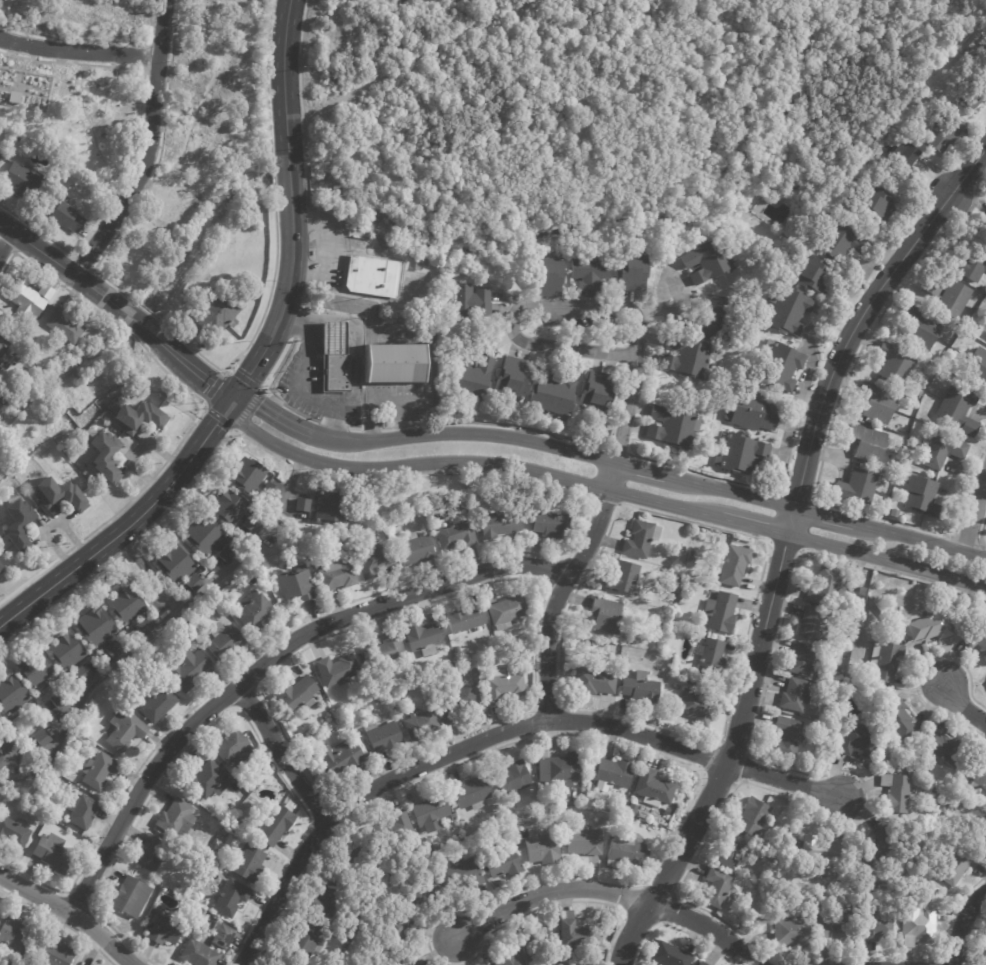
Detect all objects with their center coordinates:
road: (94, 39)
road: (78, 52)
road: (143, 69)
building: (974, 95)
road: (153, 102)
road: (302, 106)
building: (943, 133)
building: (17, 138)
road: (136, 142)
building: (2, 156)
building: (902, 157)
building: (26, 182)
building: (879, 203)
road: (292, 207)
building: (62, 215)
road: (316, 220)
building: (983, 224)
building: (360, 232)
road: (99, 237)
road: (6, 242)
building: (840, 242)
road: (315, 246)
road: (7, 249)
road: (328, 249)
building: (396, 256)
building: (712, 263)
building: (971, 264)
building: (419, 268)
road: (94, 271)
building: (639, 275)
building: (555, 276)
building: (595, 276)
building: (817, 276)
building: (375, 277)
building: (930, 286)
building: (21, 297)
building: (952, 298)
road: (307, 299)
building: (472, 300)
building: (983, 302)
road: (118, 307)
building: (213, 312)
road: (634, 312)
building: (792, 312)
road: (862, 313)
building: (717, 320)
road: (294, 323)
building: (60, 324)
building: (28, 325)
building: (920, 328)
road: (430, 334)
building: (985, 334)
road: (810, 337)
road: (354, 340)
building: (2, 350)
road: (195, 351)
building: (689, 358)
building: (335, 359)
building: (1, 362)
building: (893, 364)
building: (395, 365)
building: (977, 367)
building: (783, 368)
road: (228, 369)
building: (477, 379)
building: (516, 379)
road: (300, 382)
road: (212, 387)
road: (266, 389)
road: (264, 390)
building: (600, 394)
building: (556, 395)
road: (810, 398)
traffic signals: (232, 401)
building: (874, 402)
building: (0, 404)
road: (345, 407)
road: (627, 409)
building: (955, 410)
road: (246, 411)
building: (755, 412)
road: (197, 414)
road: (276, 415)
building: (140, 416)
road: (333, 423)
road: (332, 424)
road: (494, 424)
road: (355, 428)
road: (371, 428)
building: (674, 429)
road: (828, 430)
road: (467, 433)
building: (866, 442)
building: (940, 450)
road: (617, 451)
building: (744, 455)
building: (107, 456)
road: (206, 461)
road: (468, 462)
road: (296, 467)
road: (640, 468)
road: (705, 474)
building: (250, 475)
building: (856, 487)
building: (271, 490)
road: (730, 491)
building: (61, 494)
building: (922, 496)
road: (603, 500)
building: (305, 505)
building: (232, 508)
building: (335, 508)
road: (973, 513)
road: (832, 517)
building: (904, 517)
road: (790, 520)
building: (408, 521)
building: (502, 523)
building: (383, 524)
building: (554, 524)
building: (19, 525)
building: (254, 525)
road: (128, 526)
road: (755, 526)
road: (807, 529)
road: (980, 532)
building: (199, 533)
building: (377, 533)
building: (458, 535)
building: (357, 536)
building: (643, 539)
road: (929, 542)
building: (320, 544)
building: (684, 547)
road: (129, 548)
building: (416, 549)
building: (221, 553)
building: (693, 557)
road: (886, 560)
building: (171, 561)
building: (378, 561)
building: (735, 565)
building: (844, 567)
building: (1, 569)
road: (551, 569)
road: (148, 571)
building: (339, 575)
building: (626, 578)
building: (189, 581)
building: (292, 581)
building: (822, 586)
road: (391, 587)
road: (562, 587)
building: (673, 589)
building: (861, 591)
road: (61, 597)
building: (683, 602)
building: (122, 604)
building: (257, 611)
building: (509, 612)
building: (722, 612)
building: (609, 616)
building: (466, 619)
building: (848, 619)
building: (92, 623)
building: (814, 624)
building: (928, 626)
building: (143, 627)
road: (156, 628)
building: (424, 636)
building: (976, 638)
building: (226, 643)
building: (62, 648)
building: (457, 649)
building: (114, 651)
building: (386, 651)
building: (615, 657)
building: (713, 657)
building: (626, 659)
building: (799, 659)
road: (266, 660)
building: (450, 660)
building: (883, 660)
building: (36, 669)
building: (191, 670)
building: (340, 670)
road: (917, 671)
building: (84, 673)
building: (468, 673)
road: (534, 675)
building: (412, 678)
building: (597, 682)
building: (506, 686)
building: (642, 689)
building: (13, 694)
building: (793, 694)
building: (300, 695)
road: (546, 697)
building: (59, 701)
road: (248, 702)
building: (159, 703)
road: (214, 704)
building: (460, 705)
road: (564, 706)
building: (698, 707)
road: (962, 707)
building: (0, 716)
road: (219, 716)
building: (896, 718)
building: (423, 723)
road: (531, 725)
building: (127, 729)
building: (785, 736)
building: (384, 737)
building: (43, 739)
building: (78, 739)
building: (855, 741)
road: (631, 745)
building: (227, 746)
building: (5, 748)
road: (729, 749)
building: (943, 749)
road: (281, 755)
road: (440, 757)
building: (343, 758)
road: (728, 759)
building: (881, 759)
road: (792, 770)
building: (101, 771)
building: (563, 771)
building: (615, 773)
building: (976, 774)
building: (513, 777)
road: (716, 779)
building: (209, 780)
road: (784, 781)
building: (586, 785)
building: (656, 788)
building: (894, 792)
building: (472, 794)
building: (628, 794)
building: (496, 808)
building: (84, 811)
building: (57, 813)
building: (433, 813)
building: (174, 814)
building: (750, 817)
building: (268, 822)
building: (395, 830)
building: (15, 832)
road: (316, 837)
building: (766, 840)
building: (585, 842)
building: (981, 842)
building: (208, 845)
building: (430, 846)
building: (726, 848)
building: (877, 848)
building: (217, 849)
building: (543, 849)
building: (626, 850)
building: (820, 850)
building: (54, 853)
building: (789, 853)
building: (155, 856)
building: (429, 859)
building: (244, 862)
building: (505, 863)
building: (359, 865)
building: (953, 866)
building: (783, 869)
building: (467, 876)
road: (663, 881)
building: (754, 887)
building: (713, 888)
building: (429, 891)
road: (548, 892)
road: (81, 894)
building: (126, 895)
building: (226, 896)
road: (624, 896)
building: (330, 900)
road: (560, 903)
road: (669, 908)
road: (956, 911)
road: (70, 913)
building: (203, 914)
road: (59, 922)
building: (325, 922)
road: (961, 923)
road: (635, 925)
building: (916, 925)
building: (877, 926)
road: (706, 927)
building: (166, 929)
road: (676, 929)
building: (834, 929)
building: (790, 932)
building: (396, 933)
building: (225, 936)
building: (15, 937)
building: (579, 938)
building: (306, 943)
building: (539, 945)
building: (985, 946)
building: (54, 954)
building: (201, 954)
building: (668, 954)
building: (503, 959)
road: (943, 960)
building: (412, 962)
building: (700, 962)
building: (418, 963)
building: (94, 964)

